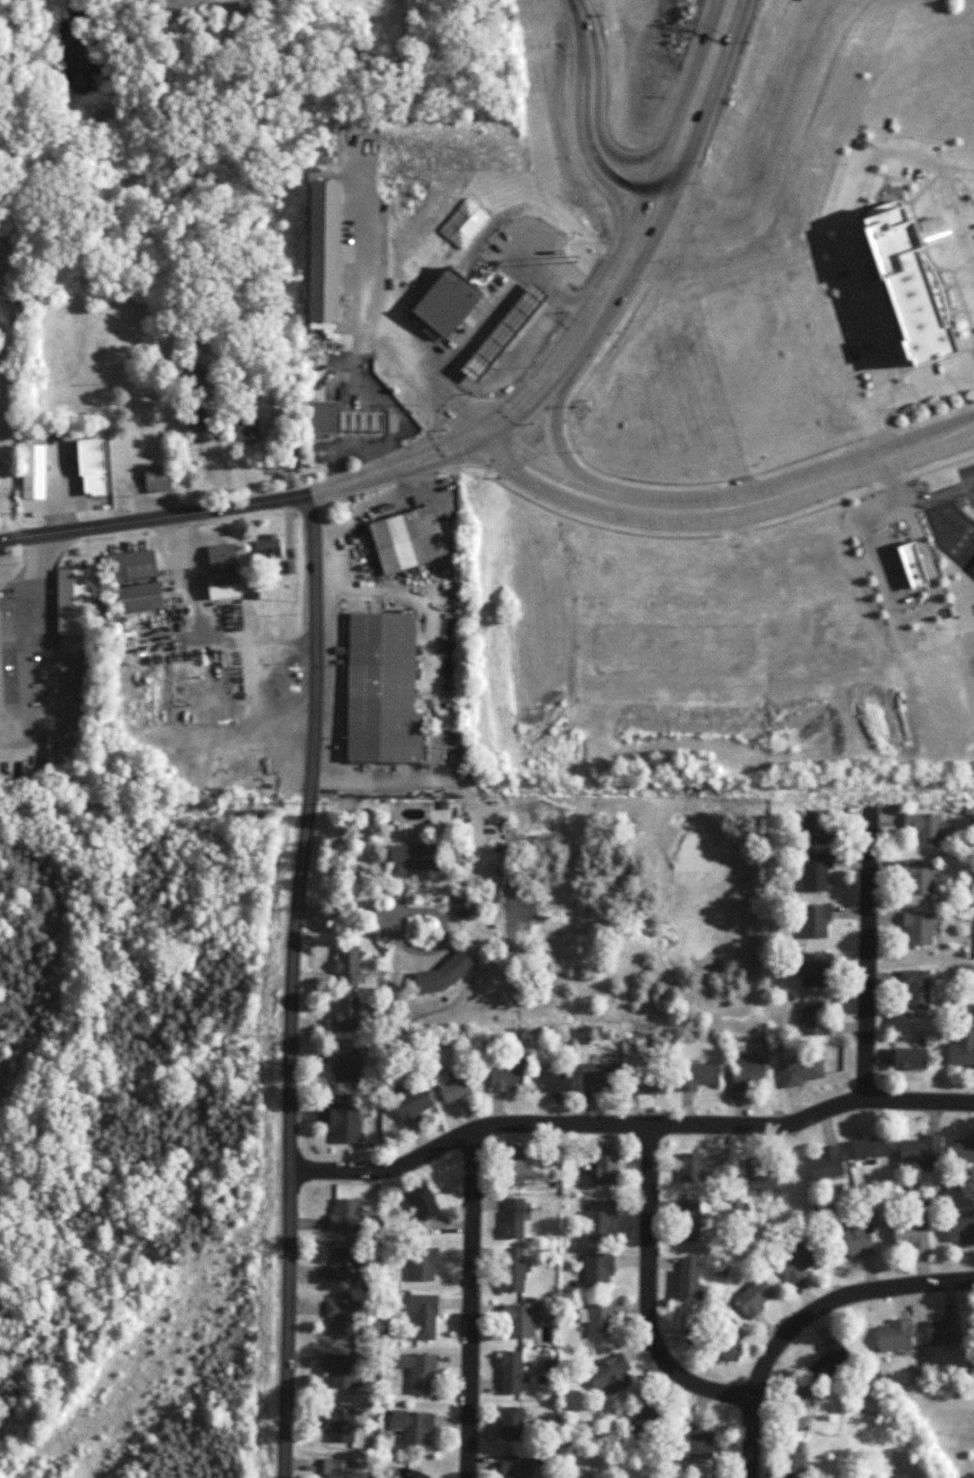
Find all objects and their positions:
road: (718, 17)
road: (14, 60)
road: (697, 95)
road: (593, 114)
road: (955, 216)
road: (848, 223)
road: (931, 229)
building: (323, 251)
building: (909, 284)
building: (447, 302)
road: (371, 313)
road: (484, 323)
building: (504, 332)
road: (402, 351)
road: (936, 383)
road: (551, 413)
road: (11, 419)
building: (198, 419)
building: (339, 419)
building: (245, 430)
road: (961, 436)
road: (352, 448)
road: (884, 451)
building: (92, 466)
road: (394, 468)
building: (33, 471)
building: (156, 478)
road: (952, 492)
road: (373, 502)
road: (727, 509)
road: (950, 527)
building: (408, 539)
building: (267, 547)
road: (874, 554)
building: (222, 556)
building: (133, 565)
building: (913, 565)
building: (973, 567)
building: (973, 569)
road: (931, 570)
building: (223, 584)
building: (139, 597)
building: (72, 601)
road: (199, 630)
building: (1, 685)
building: (382, 689)
road: (384, 780)
building: (816, 826)
building: (926, 828)
building: (413, 858)
building: (816, 871)
building: (919, 877)
building: (463, 904)
road: (426, 910)
building: (816, 920)
building: (917, 928)
building: (348, 963)
building: (814, 969)
road: (873, 972)
road: (290, 985)
building: (916, 989)
building: (348, 1013)
building: (814, 1018)
building: (961, 1047)
building: (910, 1058)
building: (345, 1065)
building: (800, 1071)
building: (747, 1073)
building: (699, 1075)
building: (505, 1076)
building: (598, 1076)
building: (556, 1082)
building: (648, 1082)
building: (455, 1089)
building: (412, 1106)
building: (344, 1125)
road: (627, 1129)
building: (870, 1147)
building: (963, 1150)
building: (922, 1151)
building: (826, 1164)
building: (604, 1167)
building: (690, 1167)
building: (517, 1168)
building: (759, 1174)
building: (424, 1202)
building: (345, 1216)
building: (513, 1218)
building: (599, 1218)
building: (690, 1220)
building: (961, 1229)
building: (910, 1234)
building: (857, 1239)
building: (797, 1262)
building: (344, 1264)
building: (422, 1264)
building: (513, 1269)
building: (598, 1269)
building: (688, 1279)
road: (646, 1296)
building: (754, 1297)
road: (472, 1303)
building: (424, 1315)
building: (342, 1317)
road: (803, 1317)
building: (600, 1319)
building: (519, 1321)
building: (944, 1331)
building: (895, 1336)
building: (730, 1341)
building: (830, 1359)
building: (417, 1369)
building: (343, 1371)
building: (511, 1372)
building: (611, 1376)
building: (799, 1408)
building: (647, 1417)
building: (511, 1423)
building: (342, 1425)
building: (413, 1426)
building: (791, 1459)
building: (515, 1467)
building: (339, 1468)
building: (420, 1475)

